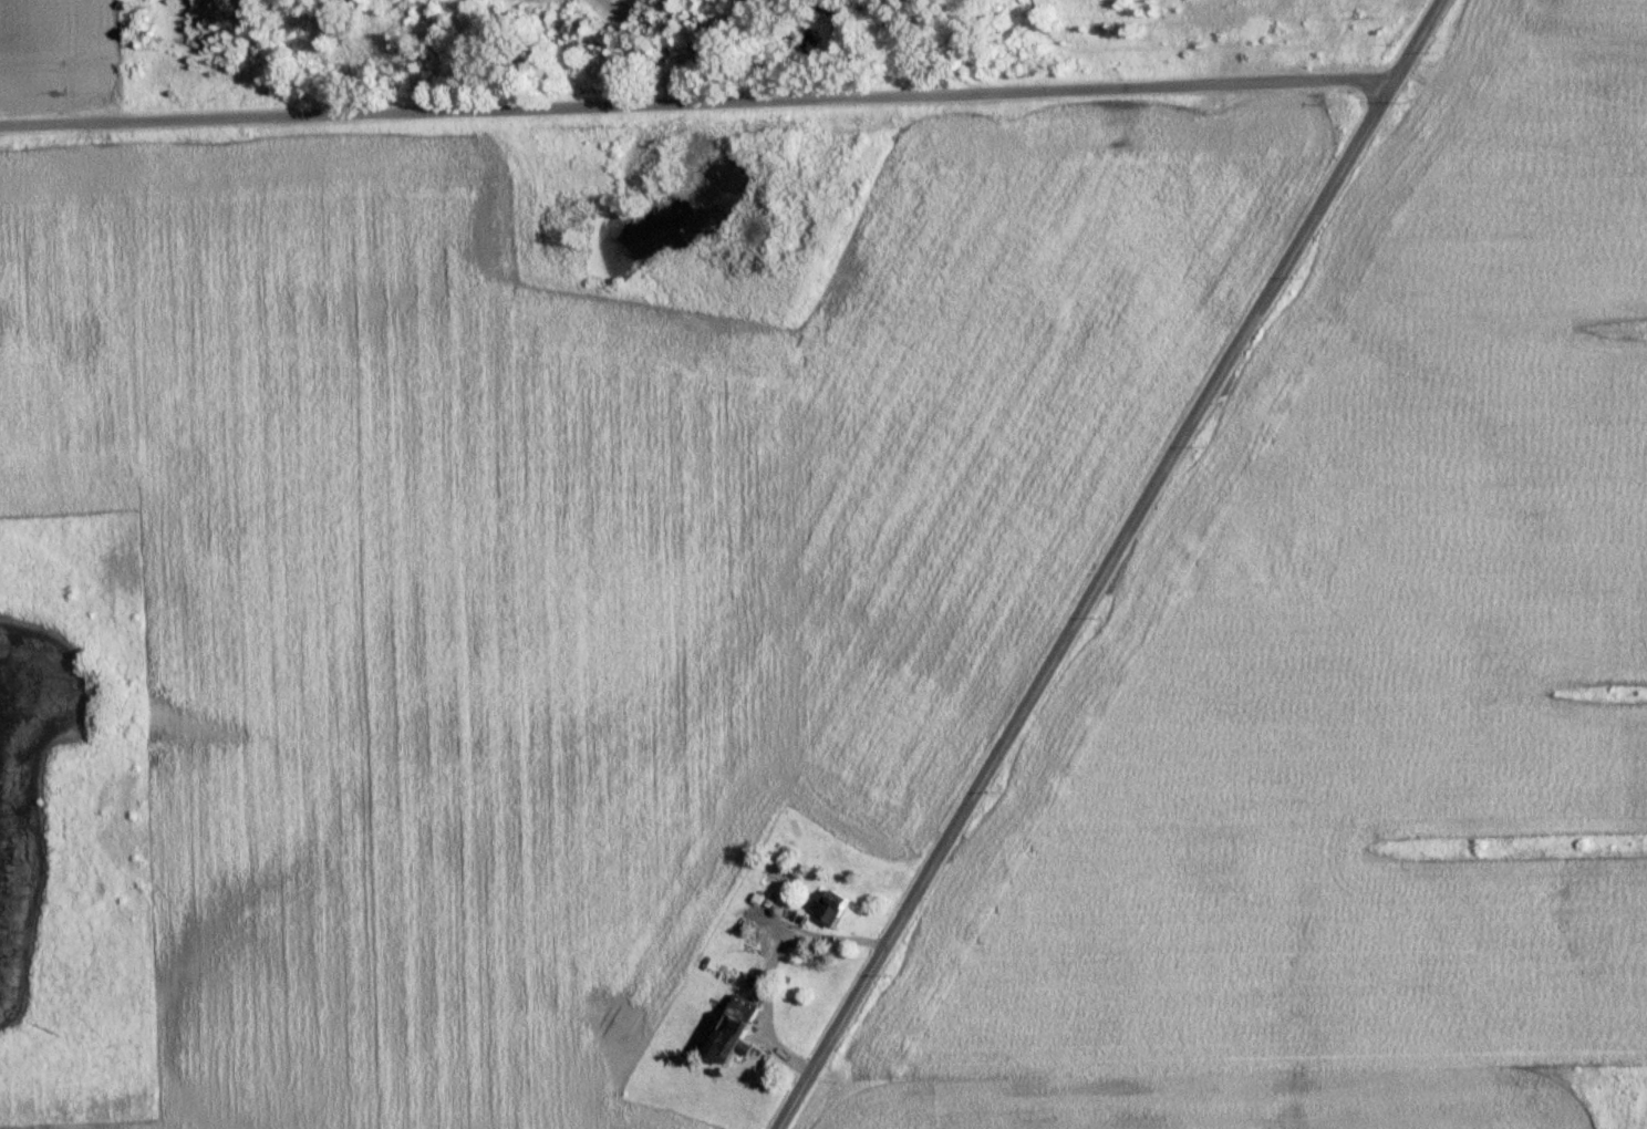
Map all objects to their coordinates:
road: (692, 101)
road: (1100, 563)

